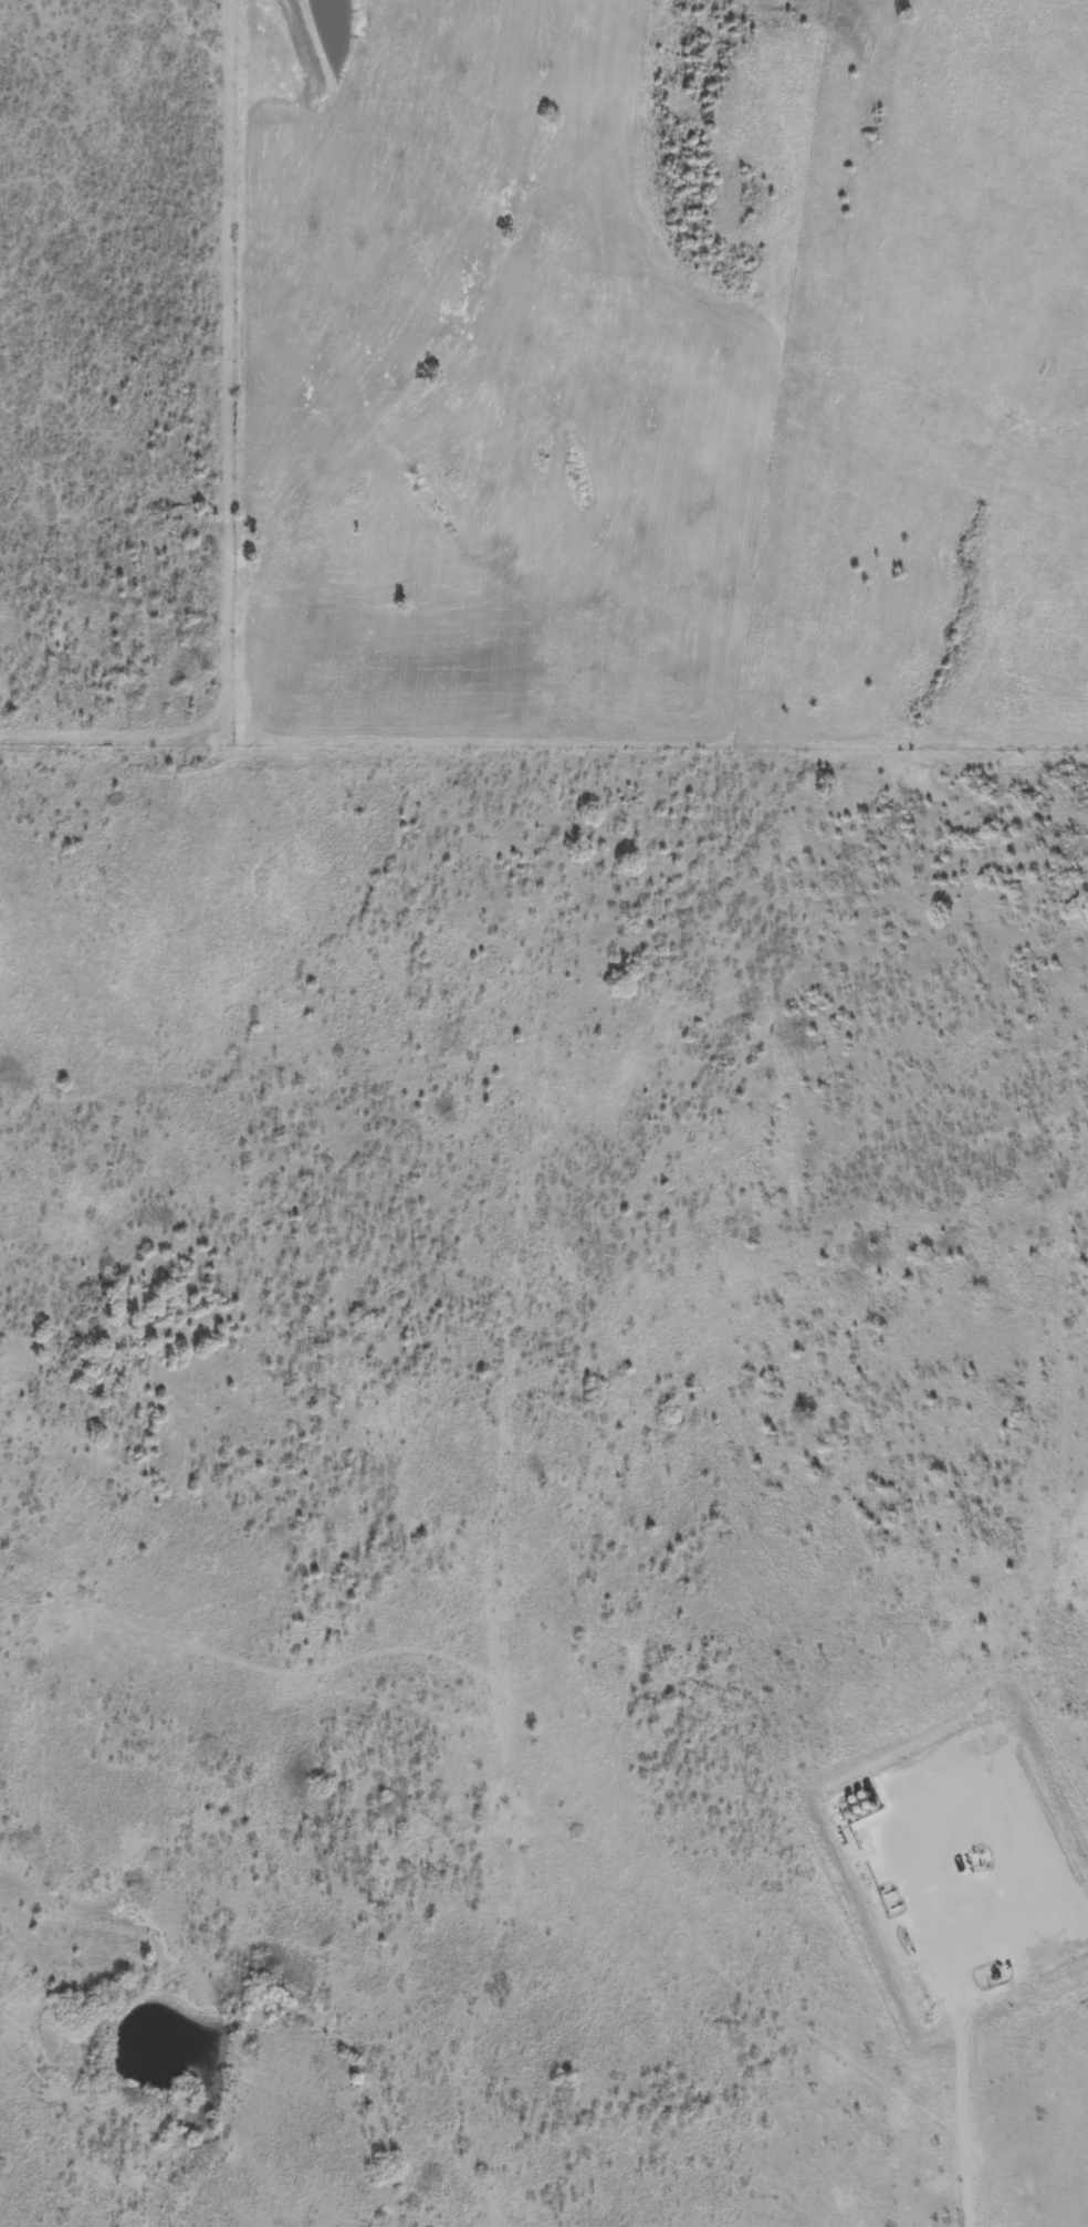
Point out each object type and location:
road: (955, 2094)

